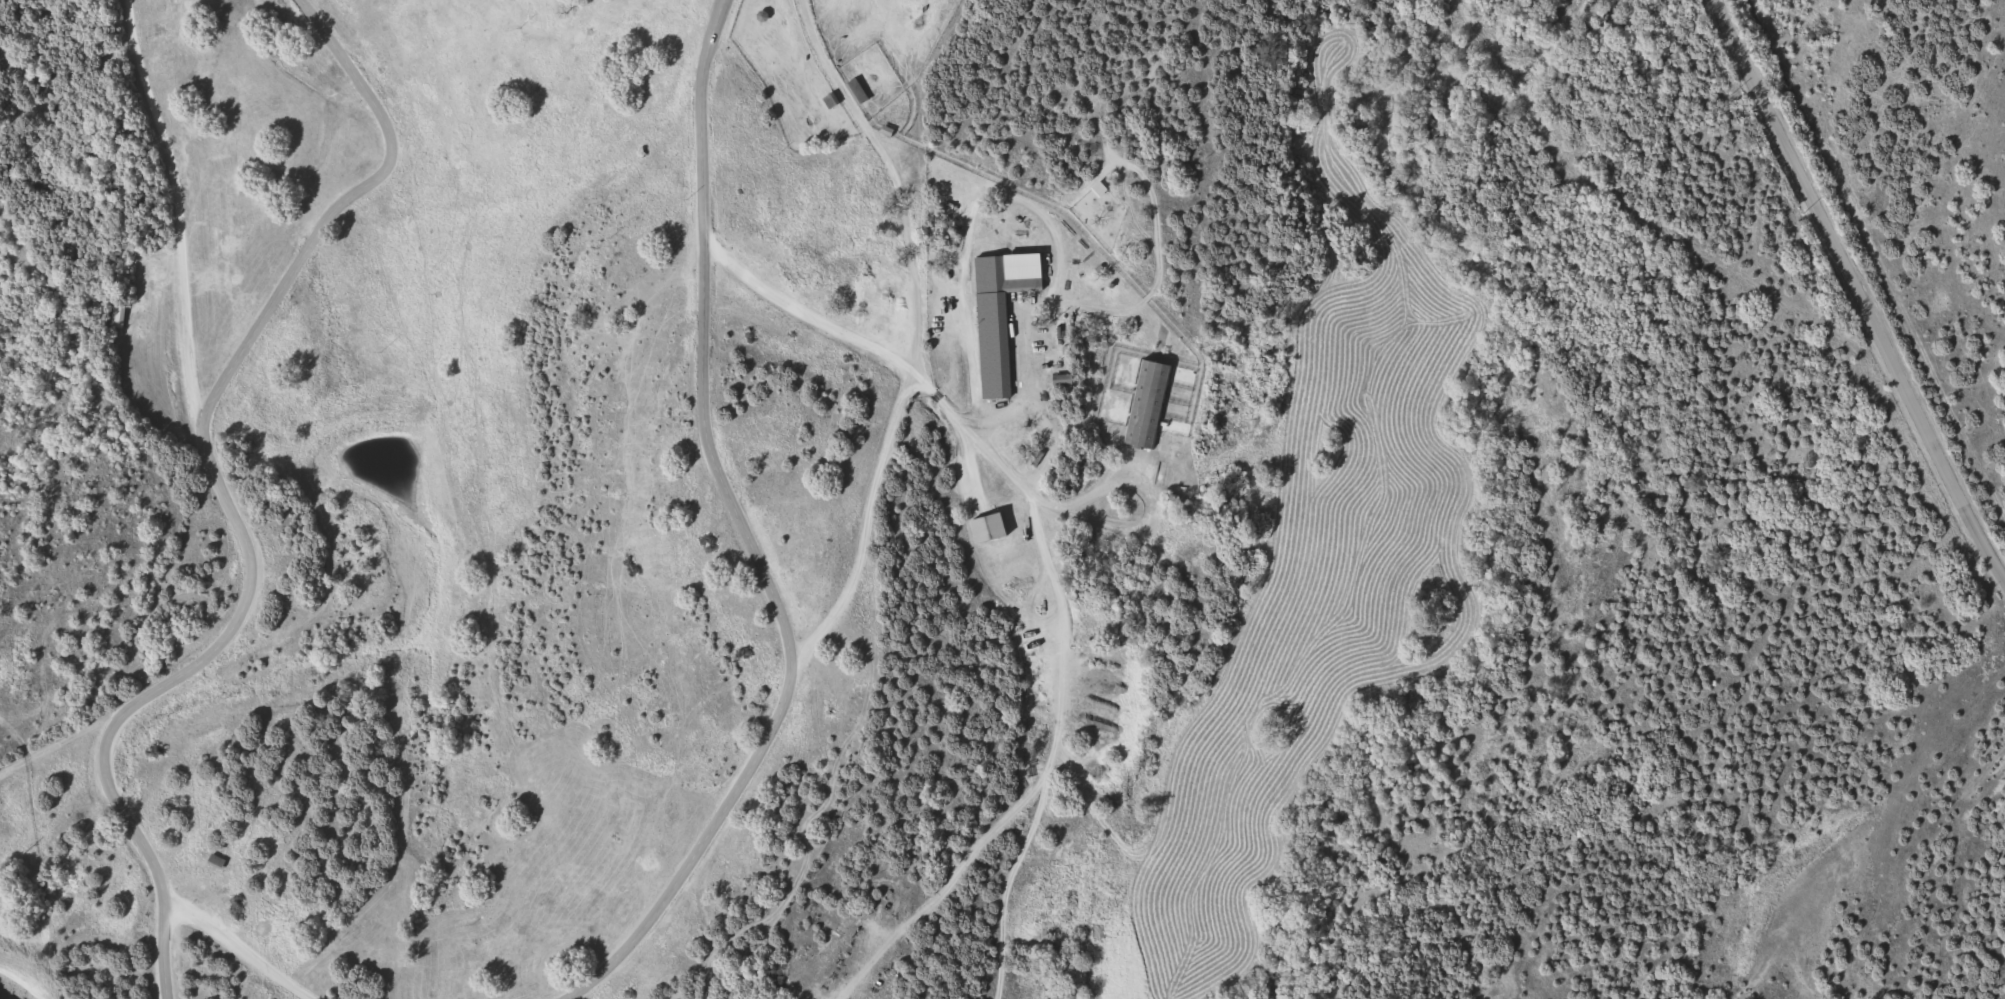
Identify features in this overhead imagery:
building: (858, 91)
road: (702, 121)
road: (900, 181)
road: (334, 207)
road: (1856, 290)
road: (806, 316)
building: (119, 317)
building: (998, 323)
building: (1151, 405)
road: (1077, 509)
building: (990, 528)
road: (250, 576)
road: (763, 578)
road: (57, 740)
road: (1052, 746)
road: (702, 839)
road: (154, 946)

